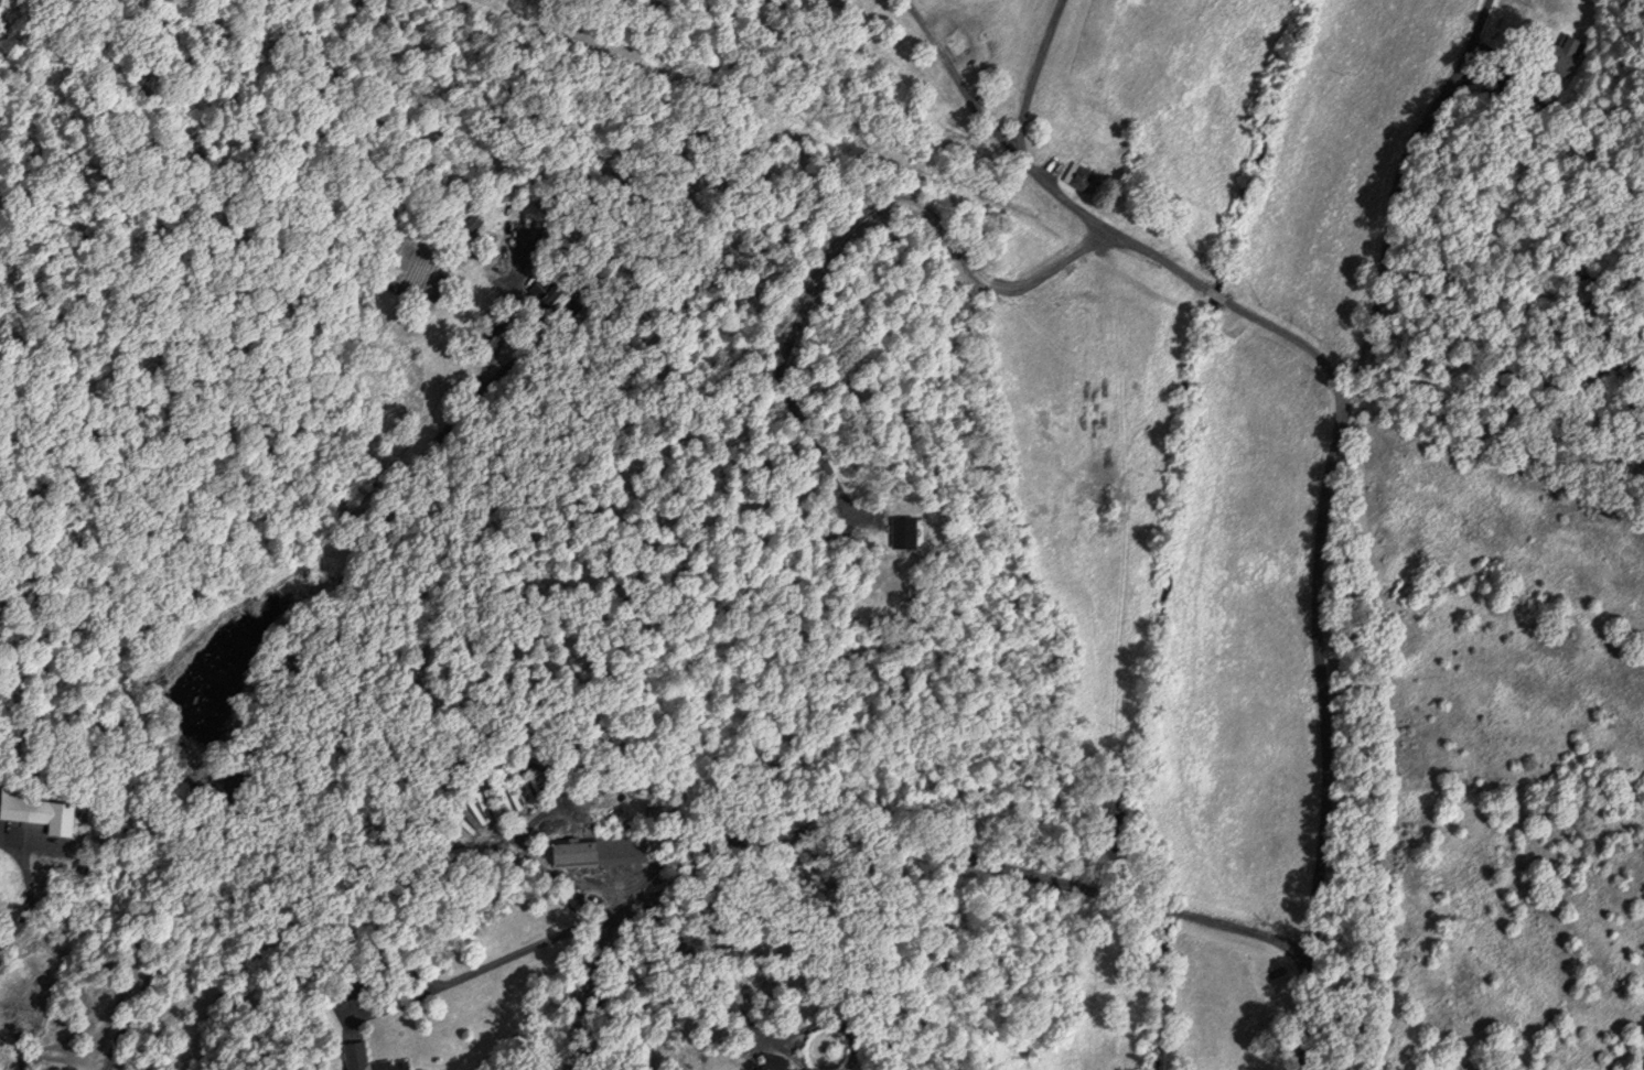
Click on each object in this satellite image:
road: (1034, 77)
building: (988, 97)
road: (1031, 169)
building: (471, 224)
building: (525, 239)
road: (1216, 295)
road: (1299, 343)
road: (1322, 520)
road: (271, 720)
building: (22, 807)
building: (598, 851)
road: (679, 856)
road: (31, 894)
road: (1168, 910)
road: (1242, 931)
road: (700, 965)
road: (829, 1023)
building: (353, 1050)
road: (13, 1052)
road: (787, 1056)
building: (774, 1062)

